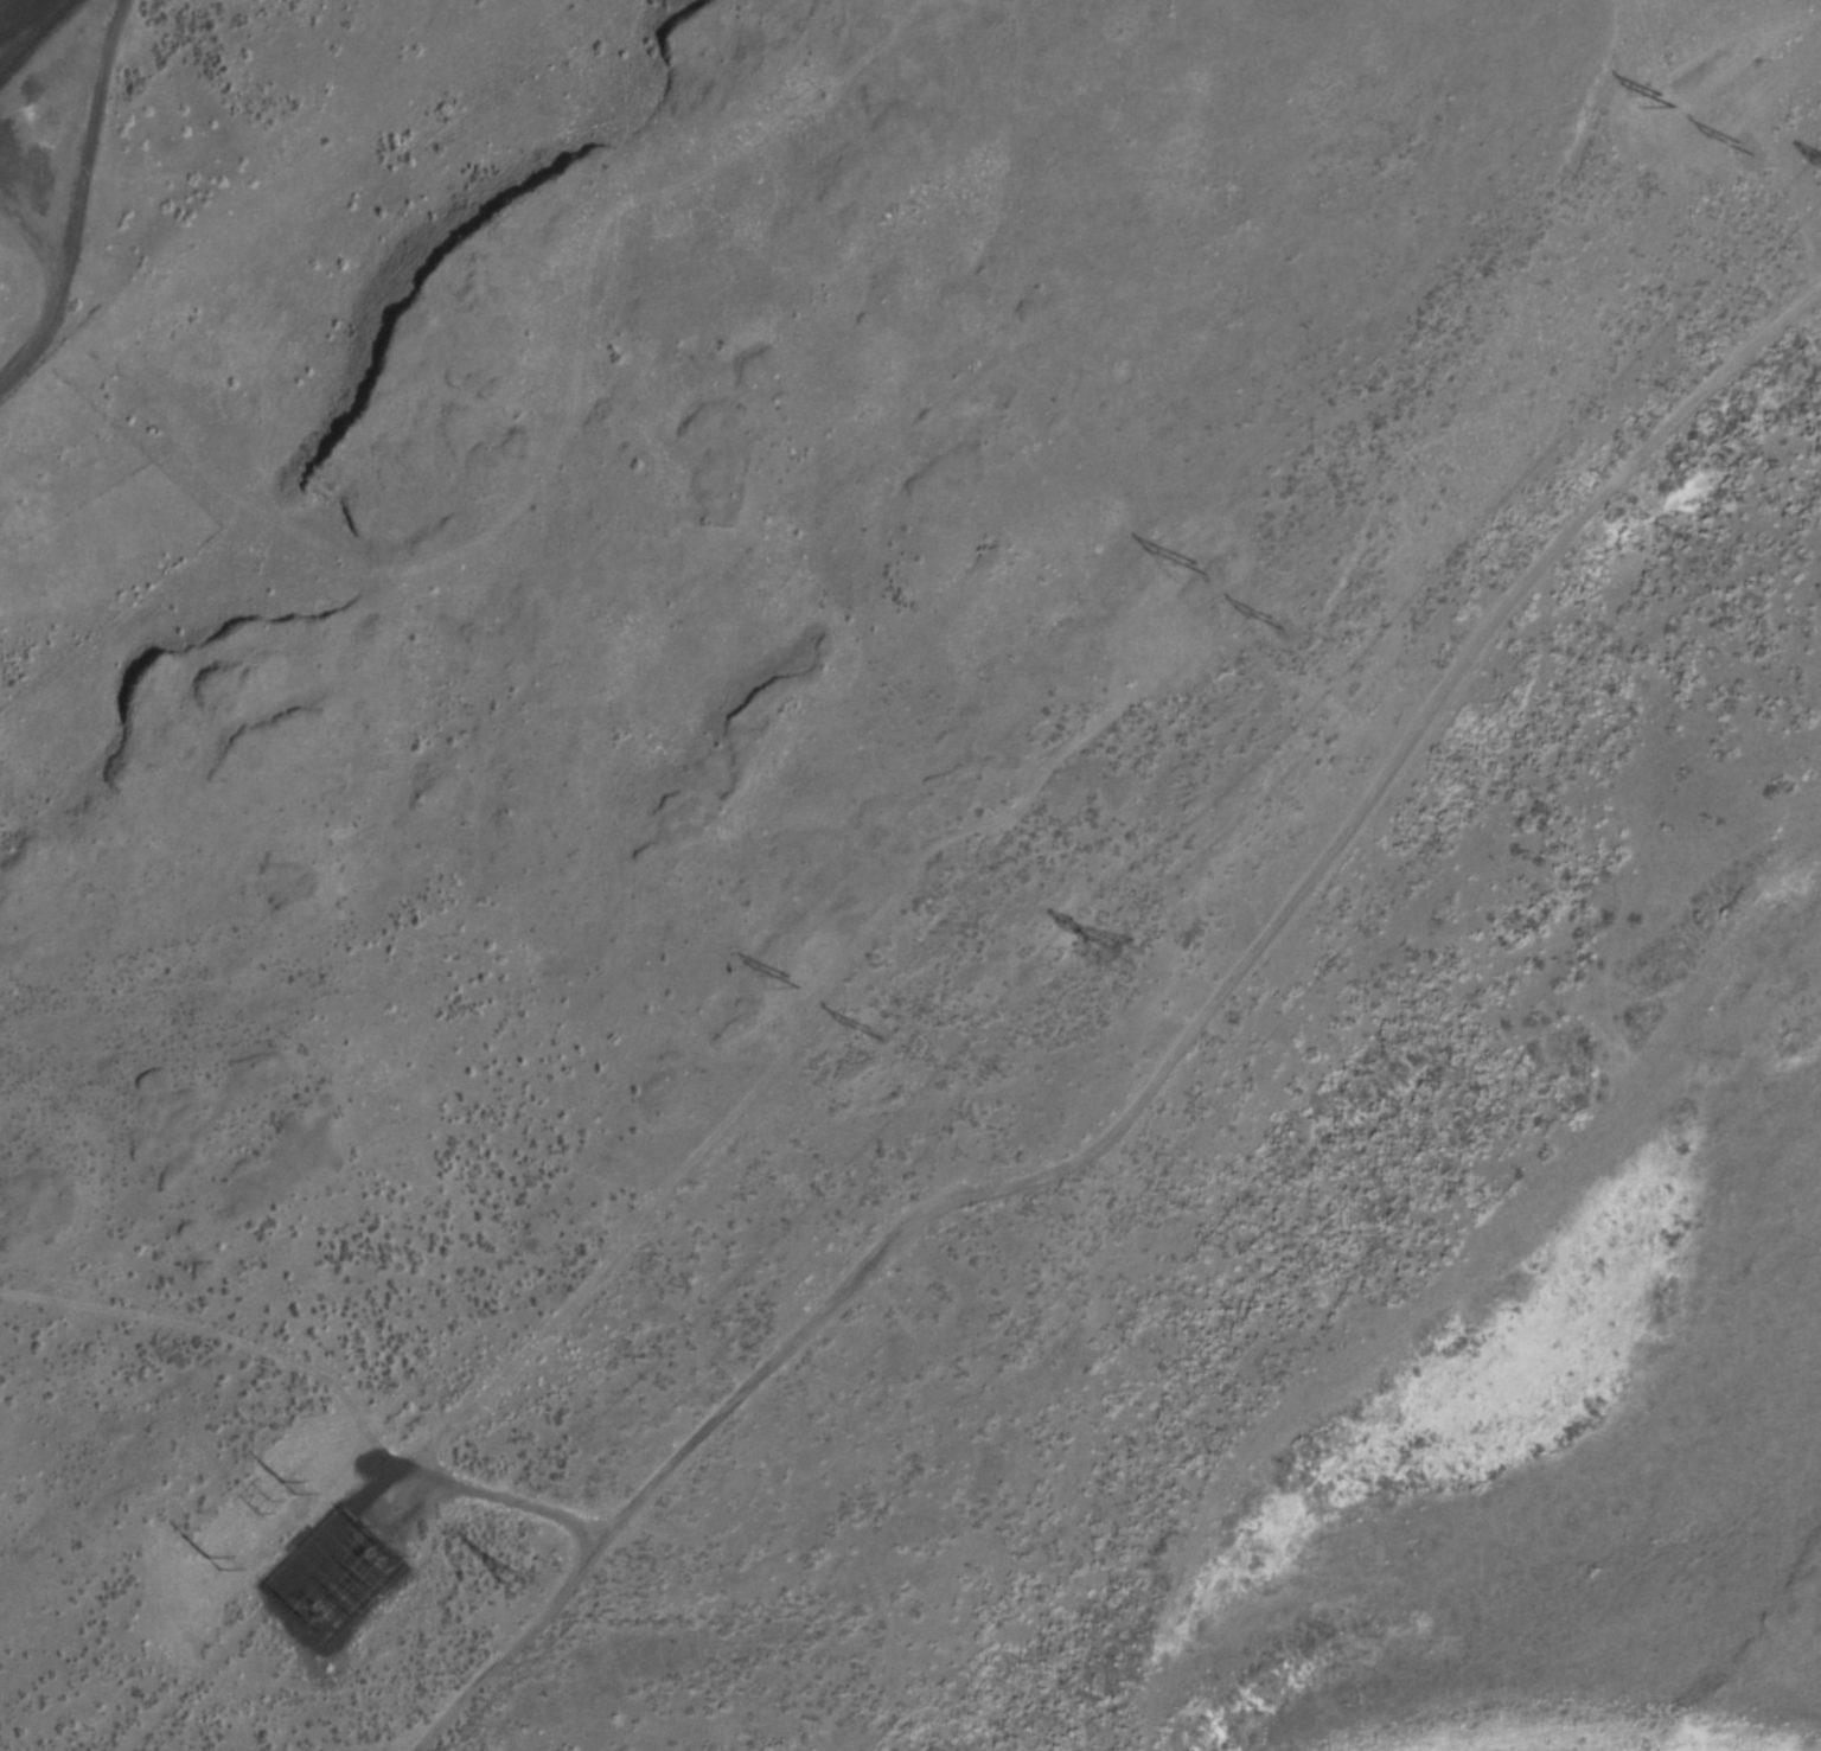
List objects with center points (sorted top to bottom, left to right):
power substation: (25, 25)
power tower: (1745, 147)
road: (28, 282)
power tower: (1271, 625)
power tower: (1132, 945)
power tower: (865, 1035)
power tower: (258, 1508)
power tower: (369, 1541)
power tower: (513, 1571)
power tower: (363, 1598)
power tower: (288, 1615)

